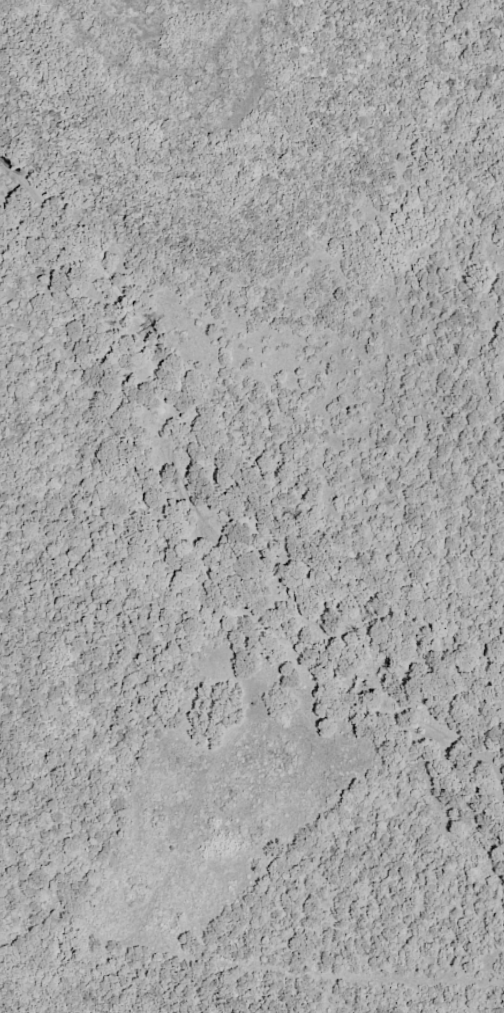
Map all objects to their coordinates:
road: (251, 977)

